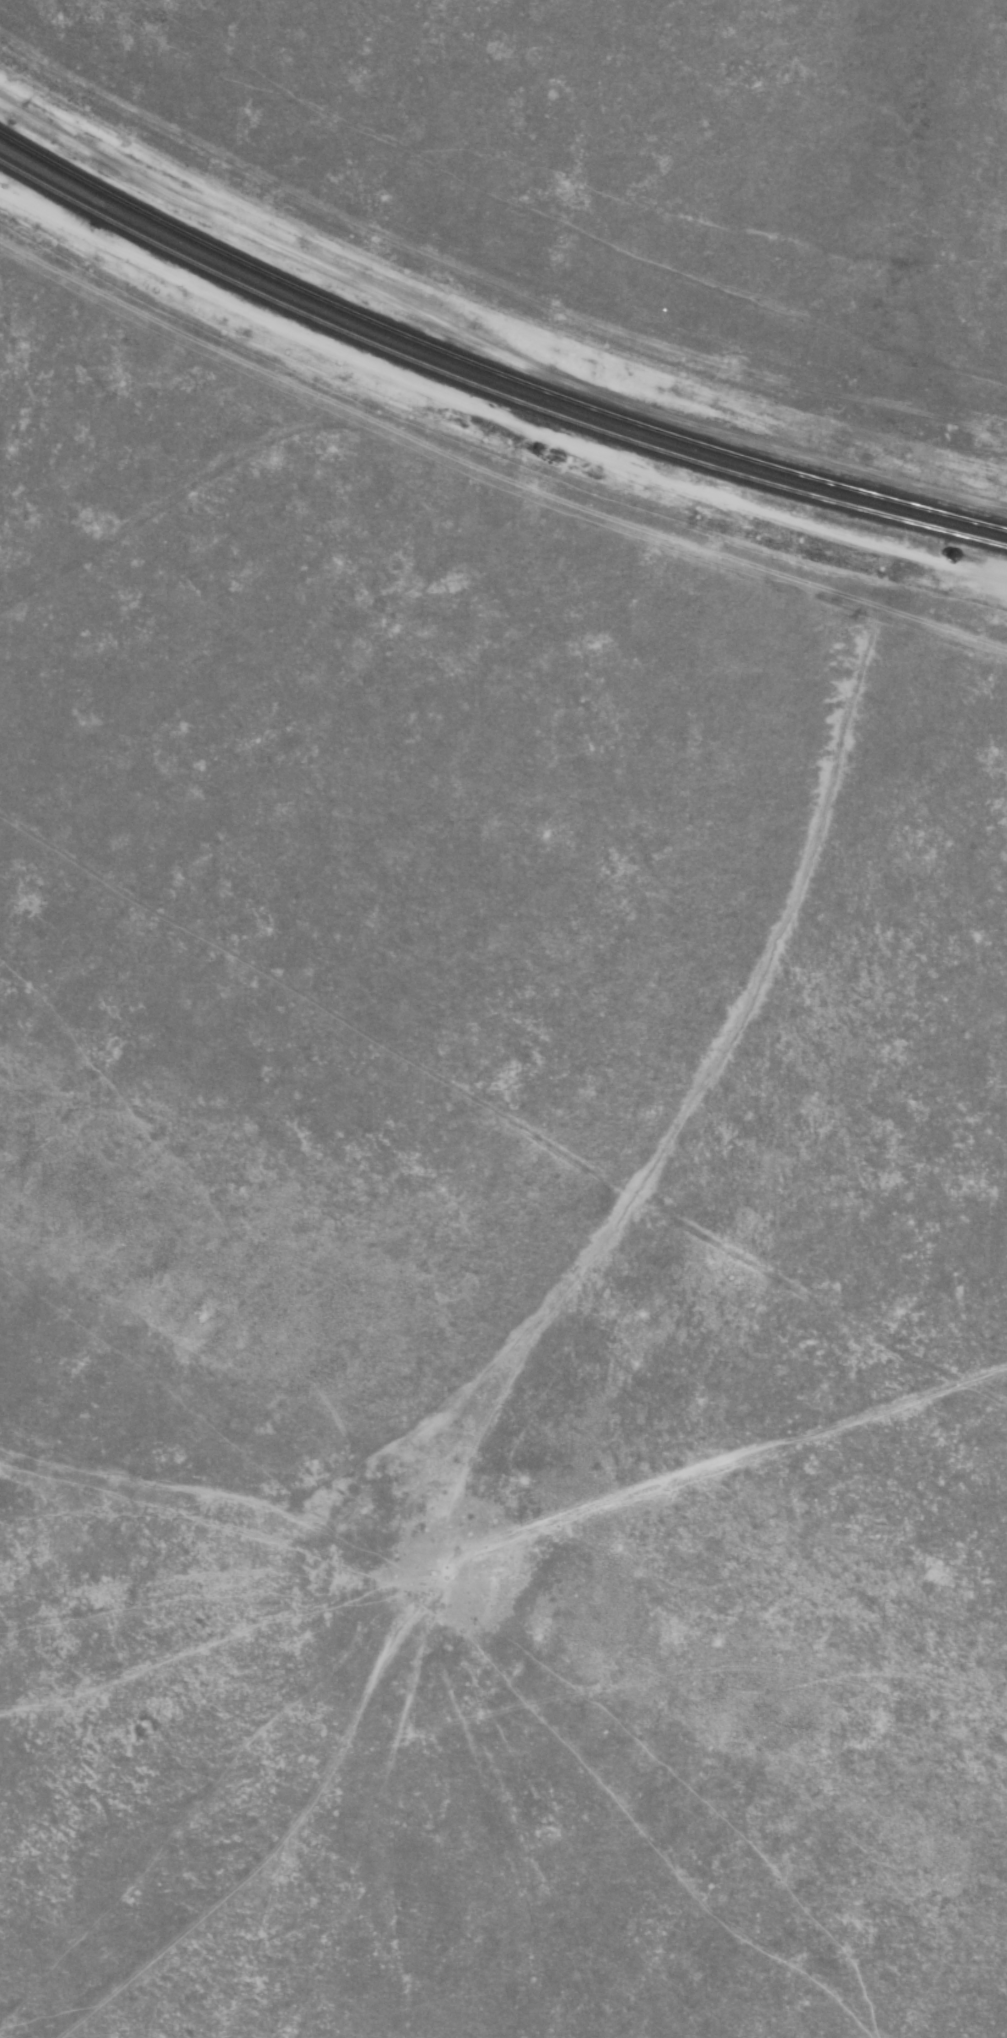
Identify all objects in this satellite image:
railway: (488, 368)
railway: (489, 390)
road: (502, 486)

